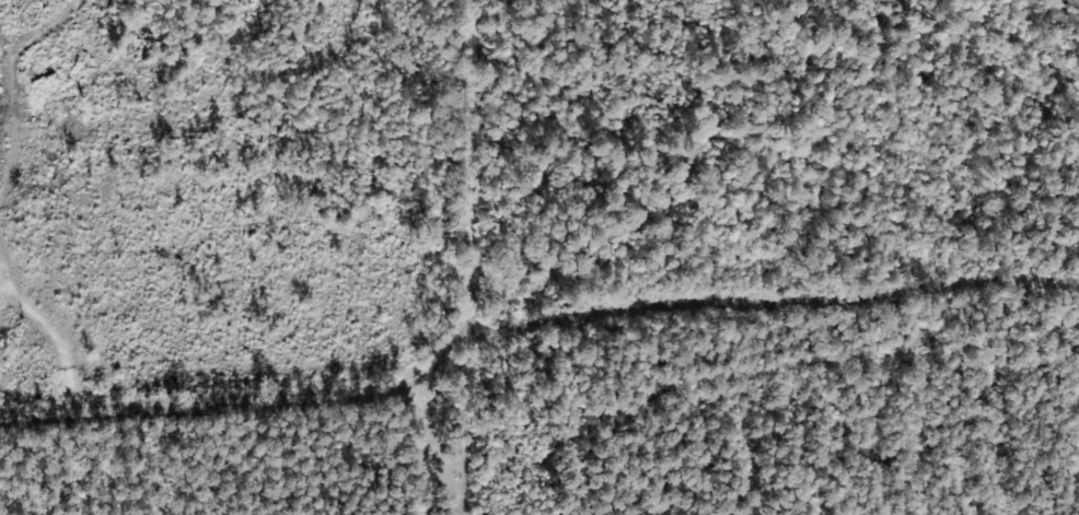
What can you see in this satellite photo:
road: (462, 198)
road: (212, 405)

